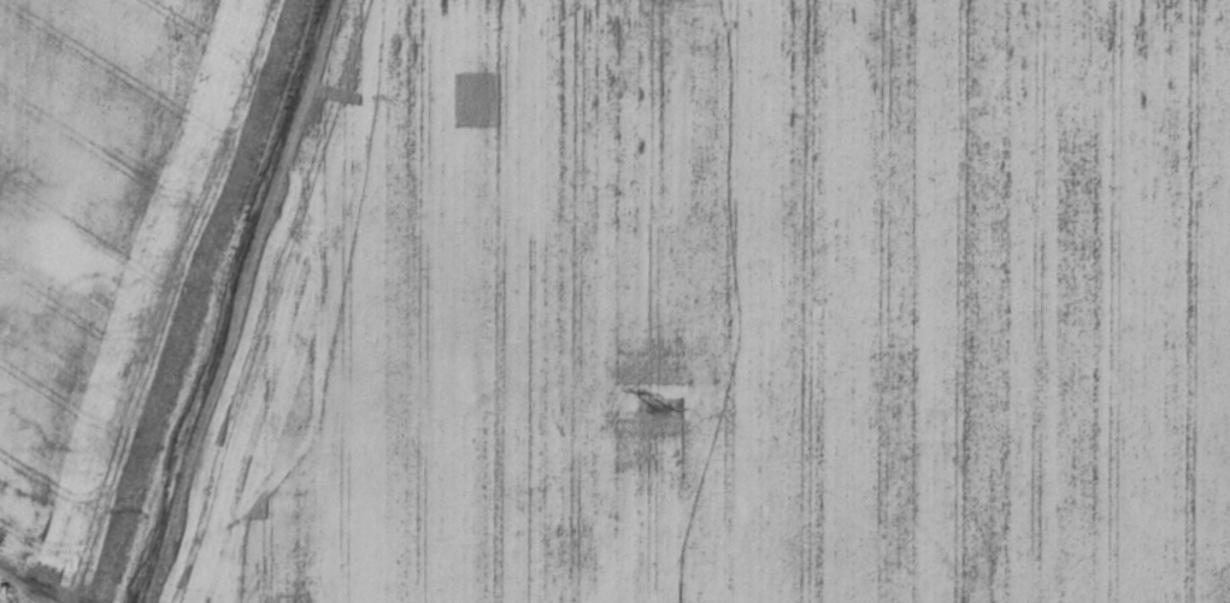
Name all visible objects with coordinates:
power tower: (666, 409)
road: (24, 586)

